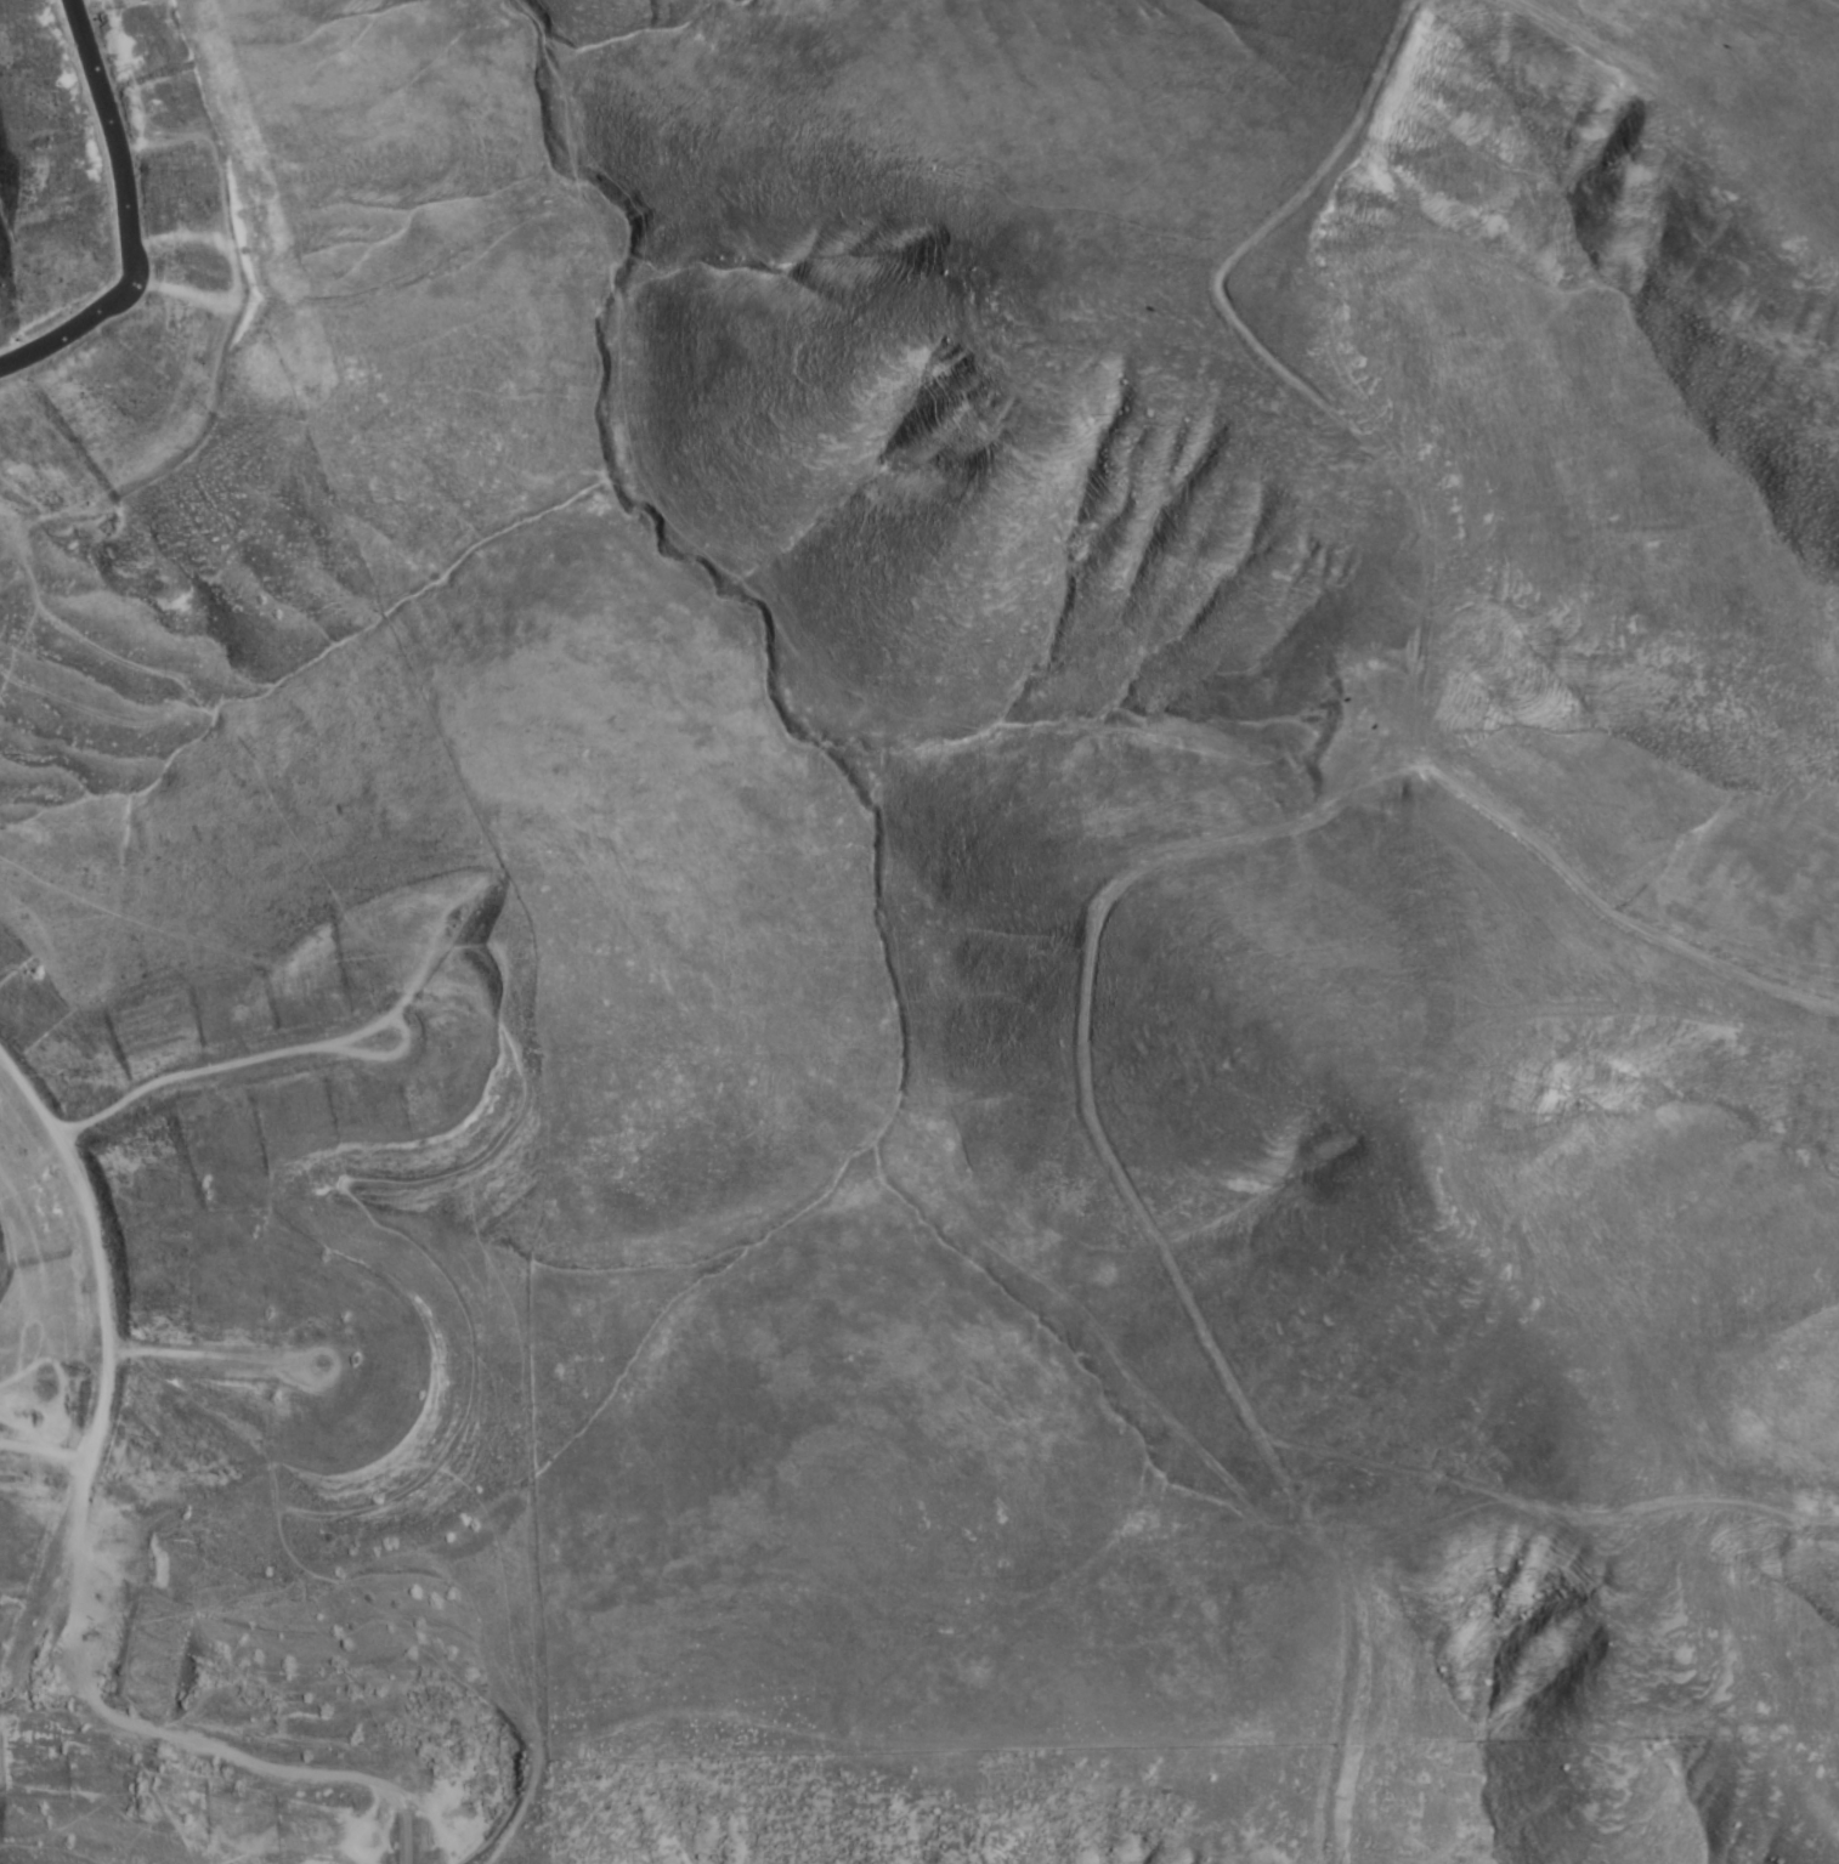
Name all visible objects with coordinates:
road: (119, 211)
road: (11, 1042)
road: (83, 1449)

